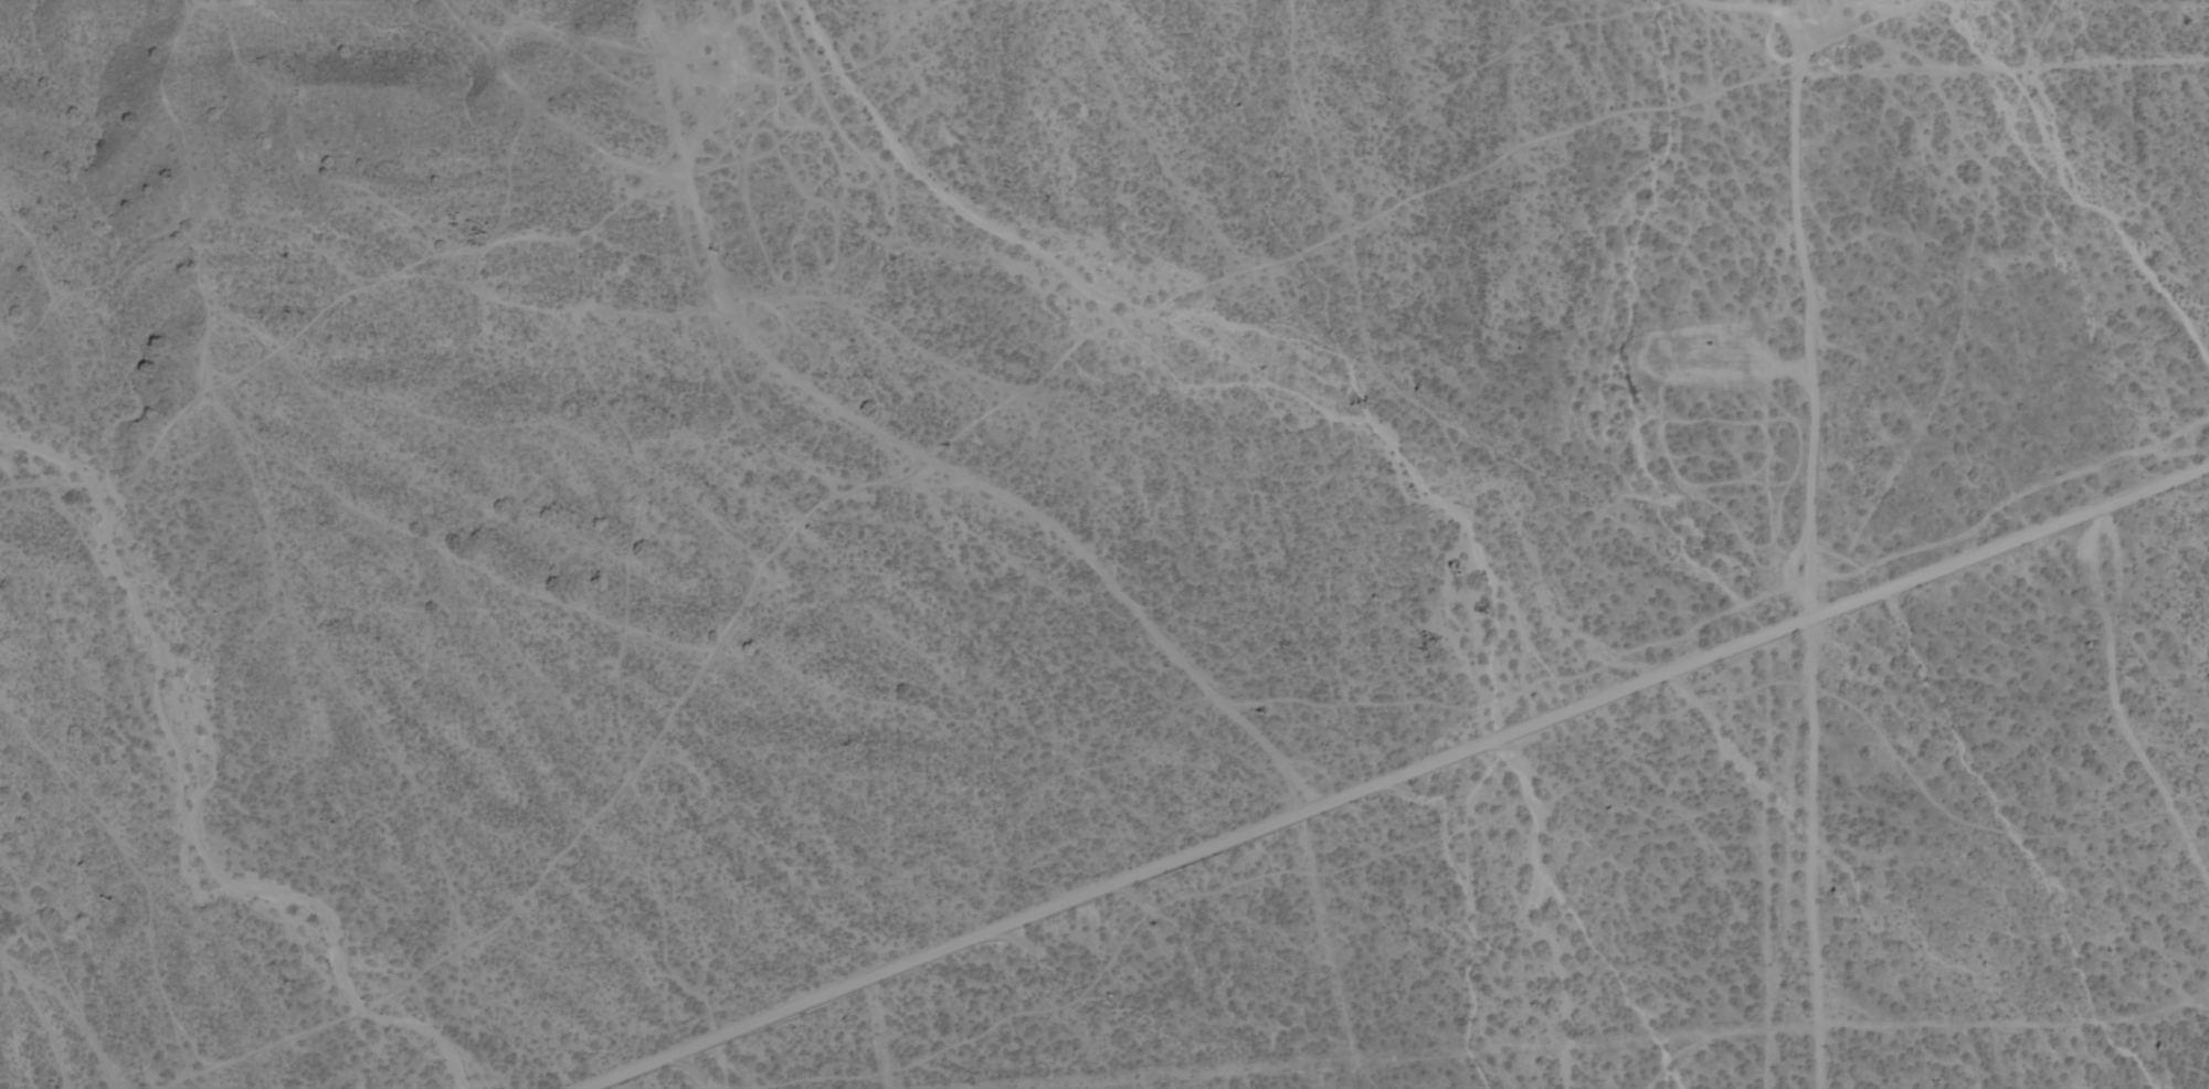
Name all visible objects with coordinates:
road: (1815, 360)
road: (903, 452)
road: (1393, 773)
road: (1759, 866)
road: (1987, 1039)

